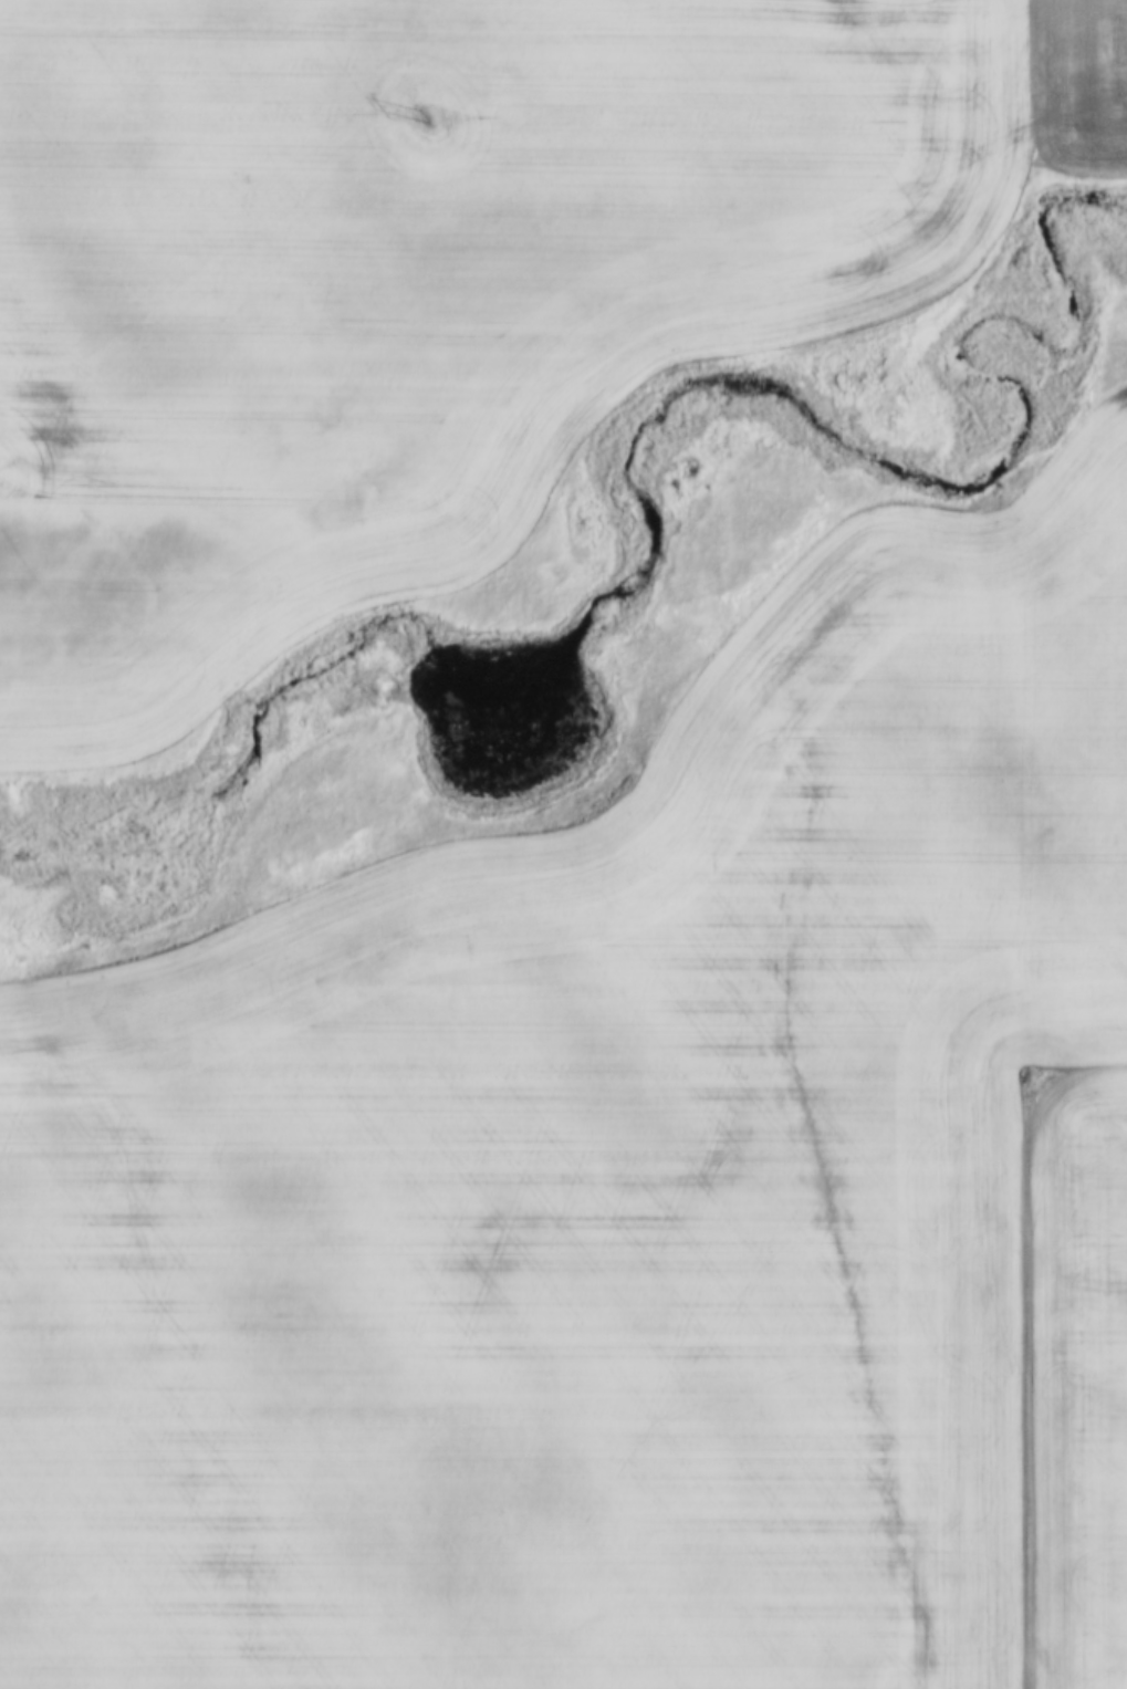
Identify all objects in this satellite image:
power tower: (424, 117)
road: (1025, 1346)

